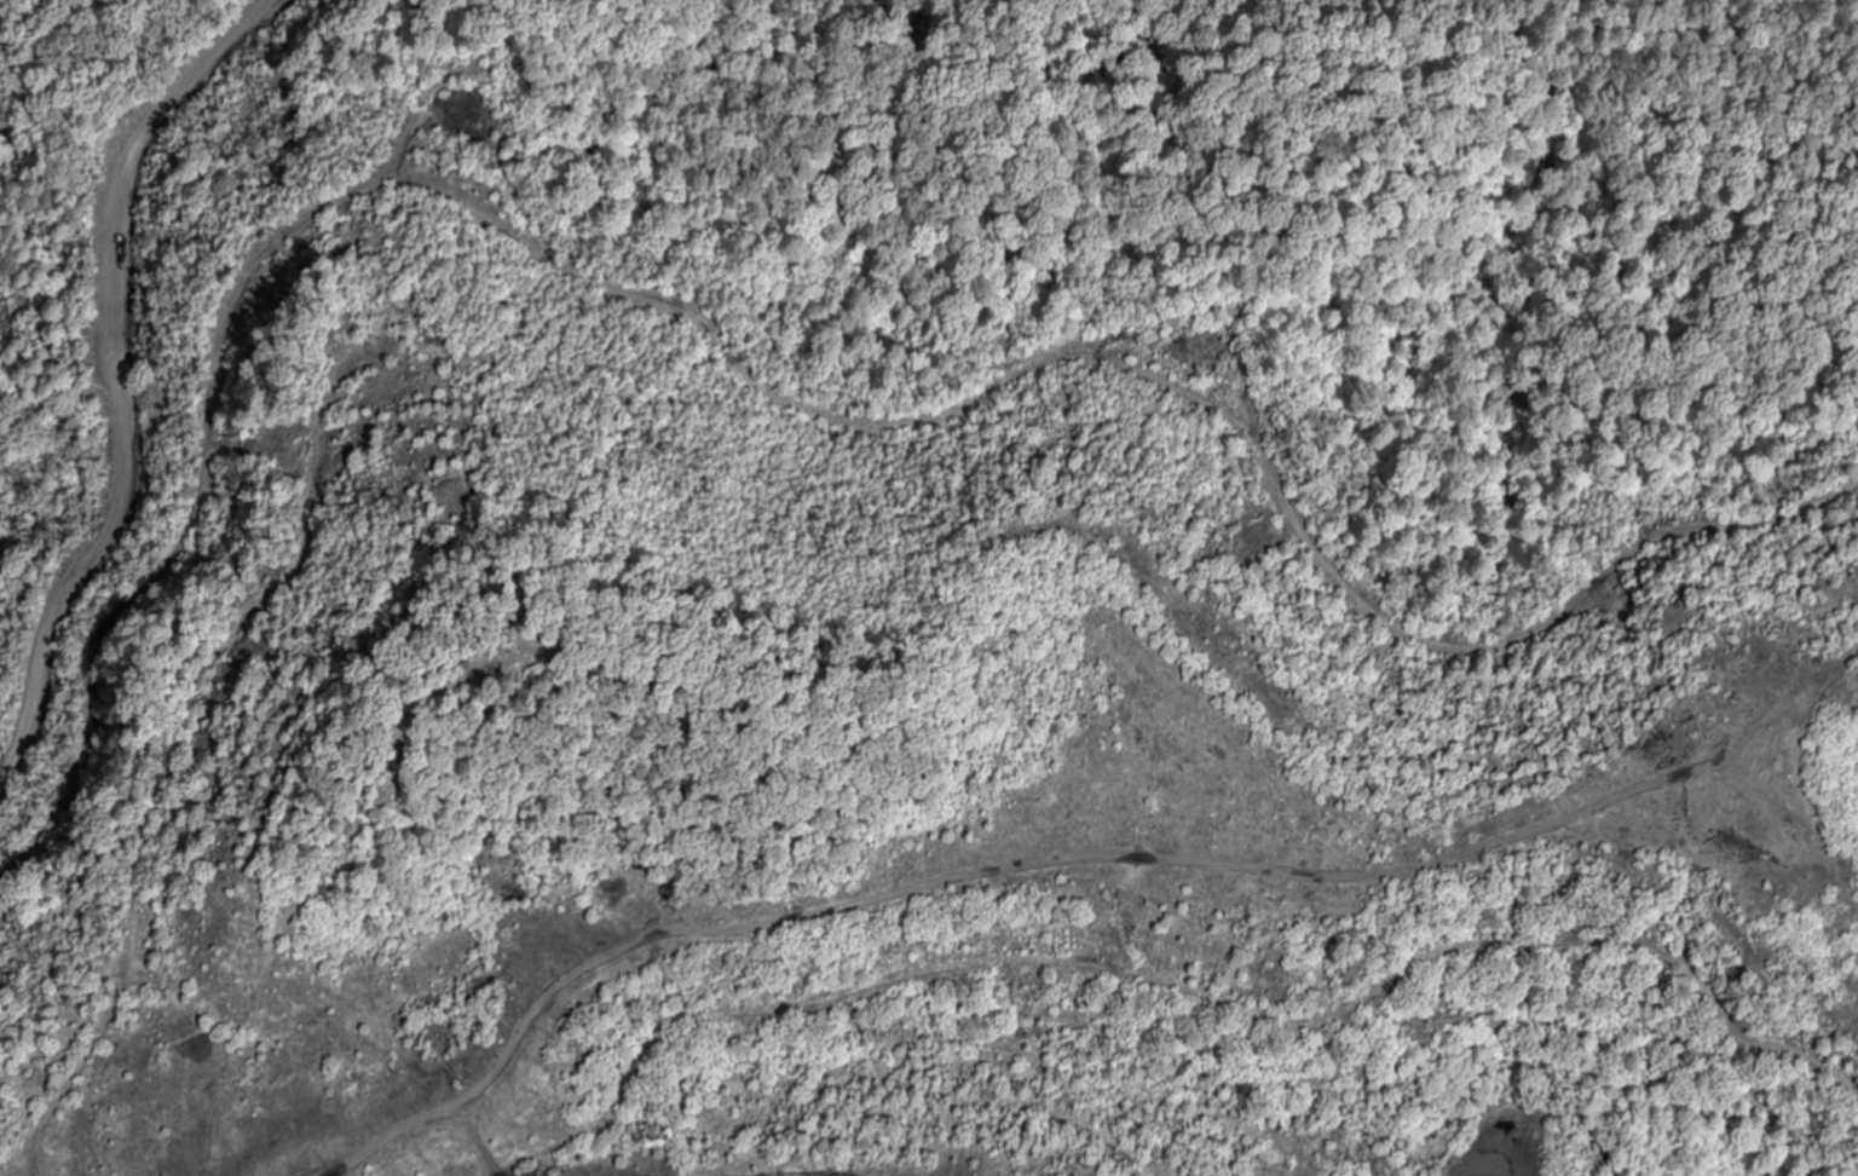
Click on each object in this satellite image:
road: (109, 183)
quarry: (1156, 904)

